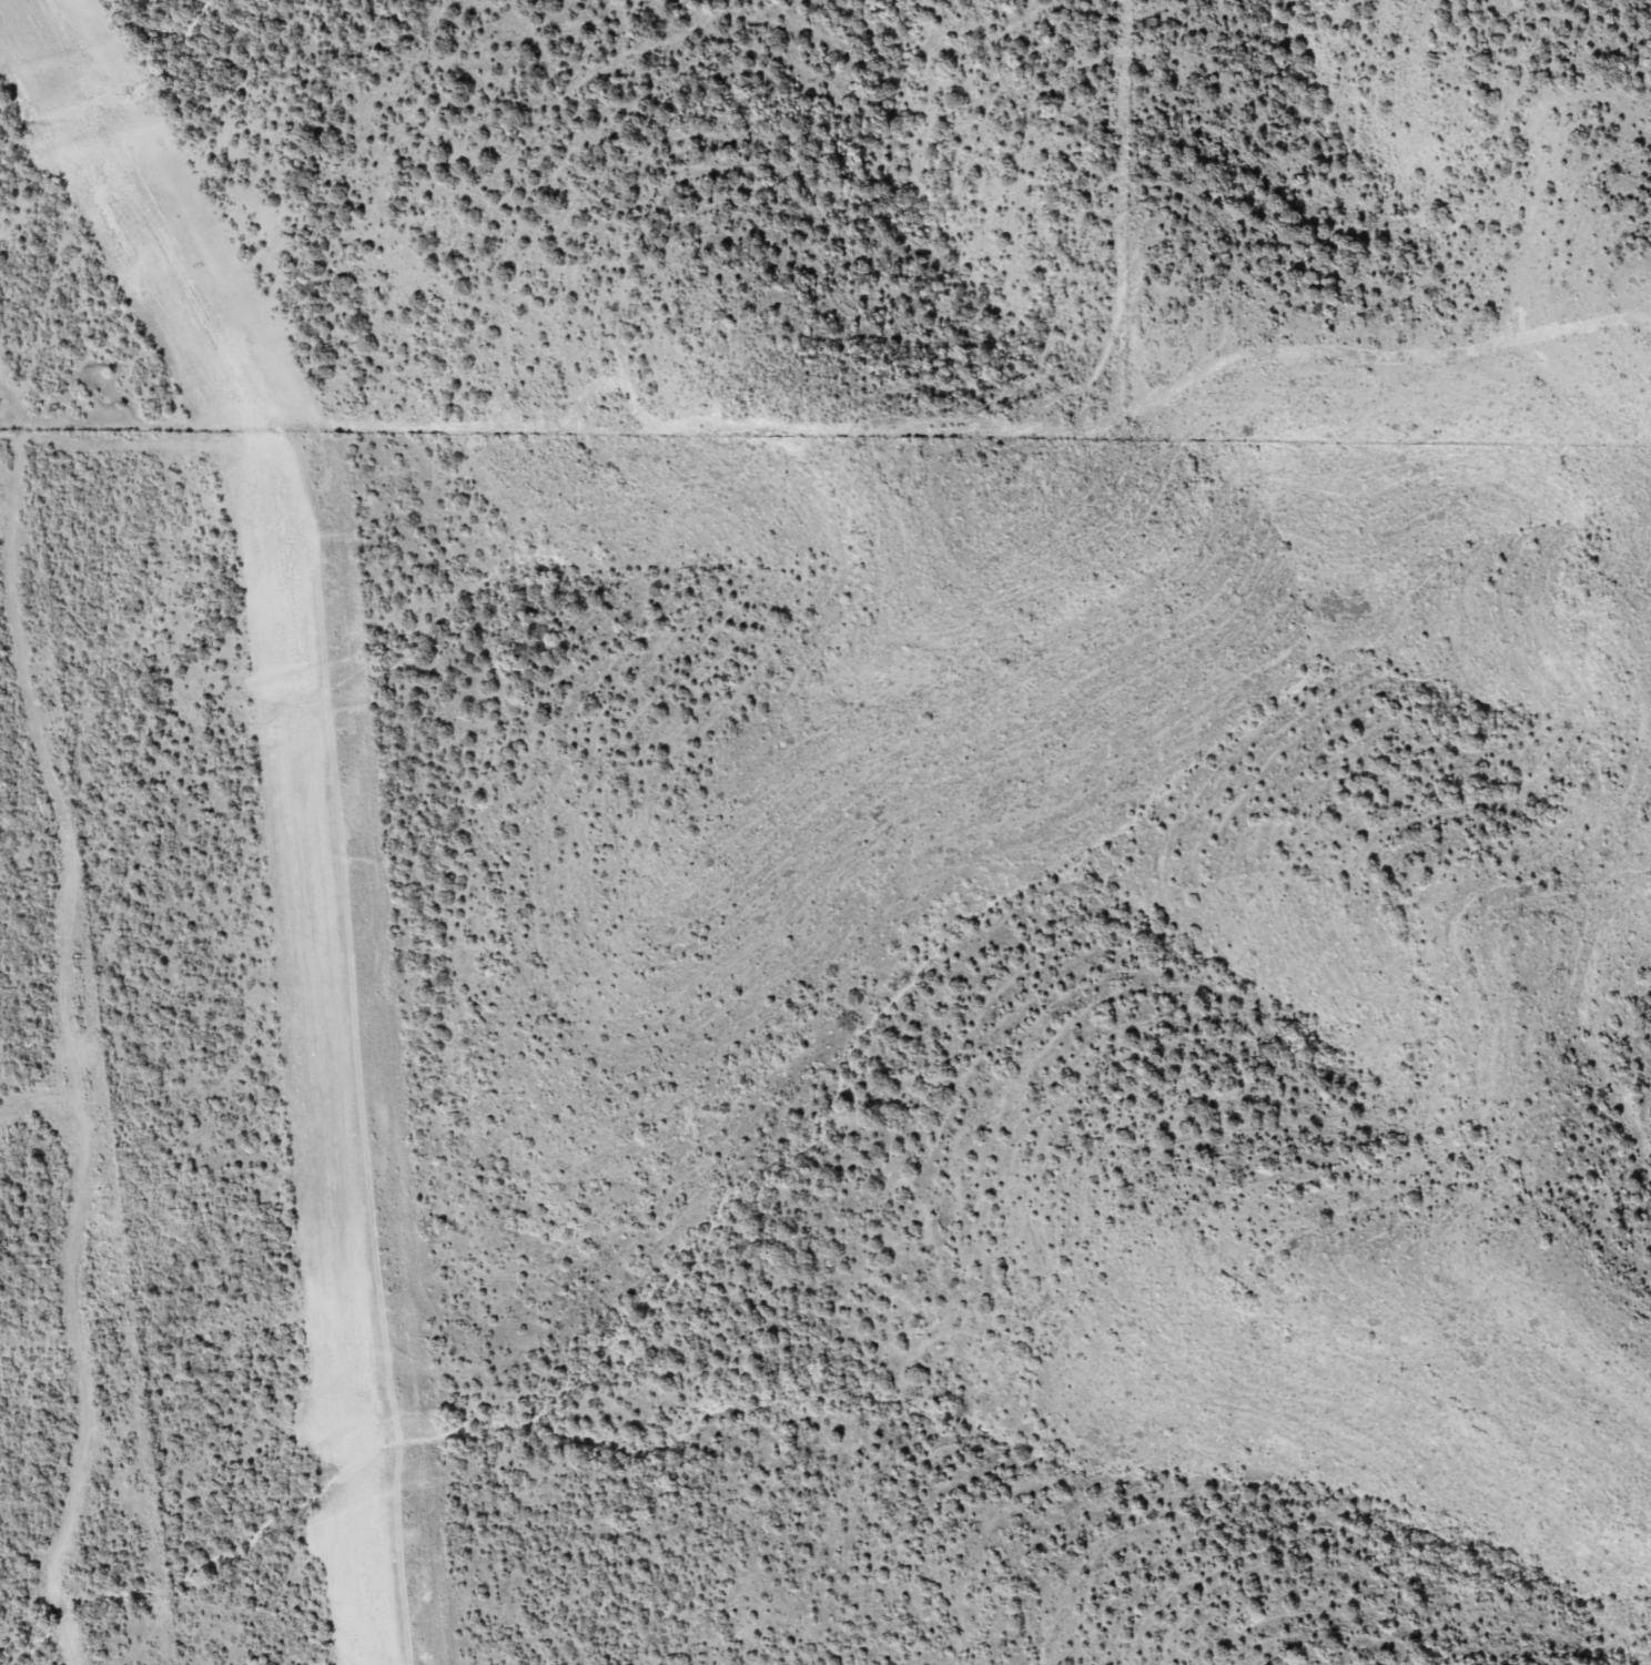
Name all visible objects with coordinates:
road: (87, 1465)

